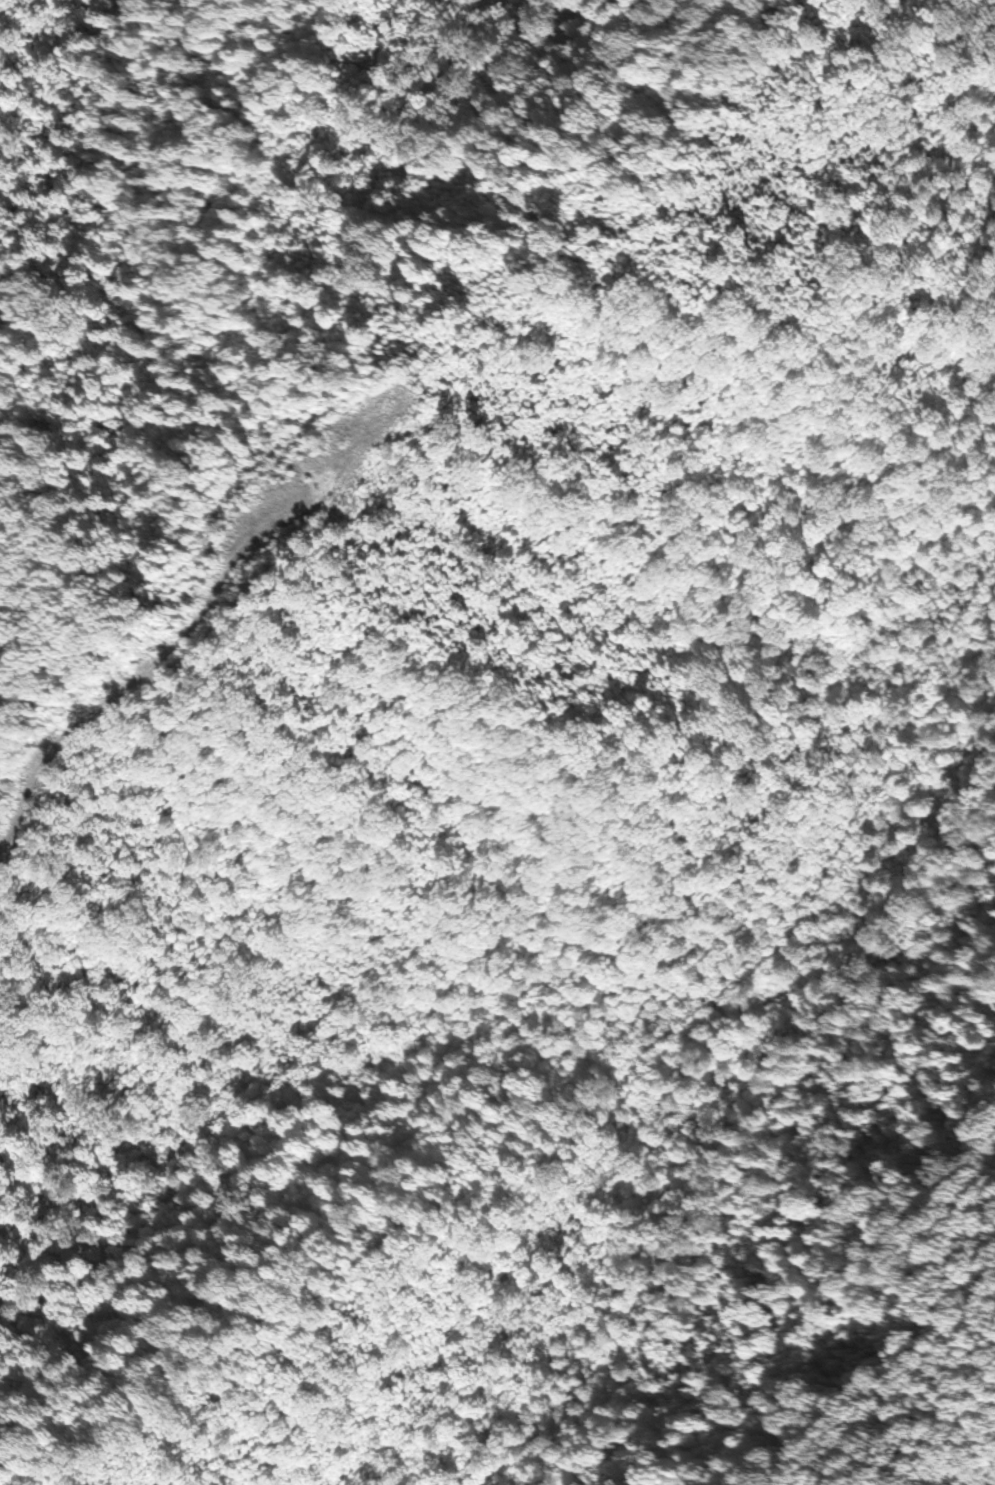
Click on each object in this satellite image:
road: (164, 657)

